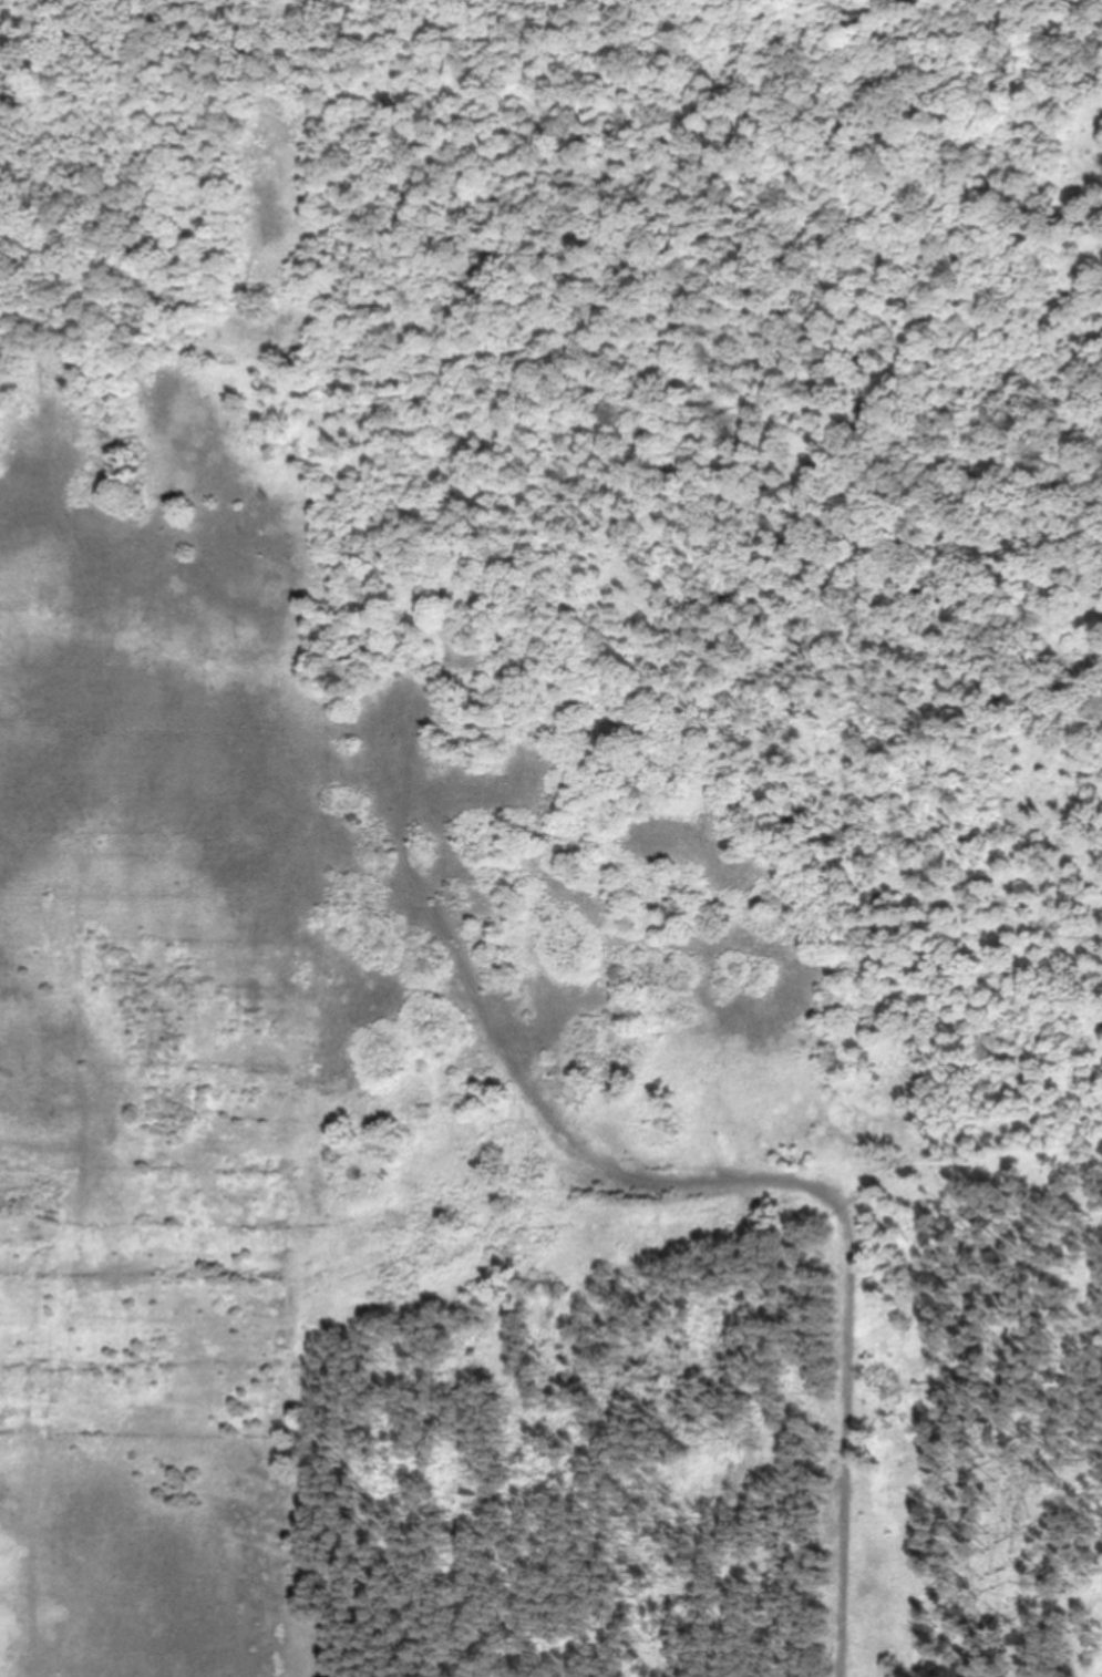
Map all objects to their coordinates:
park: (148, 45)

